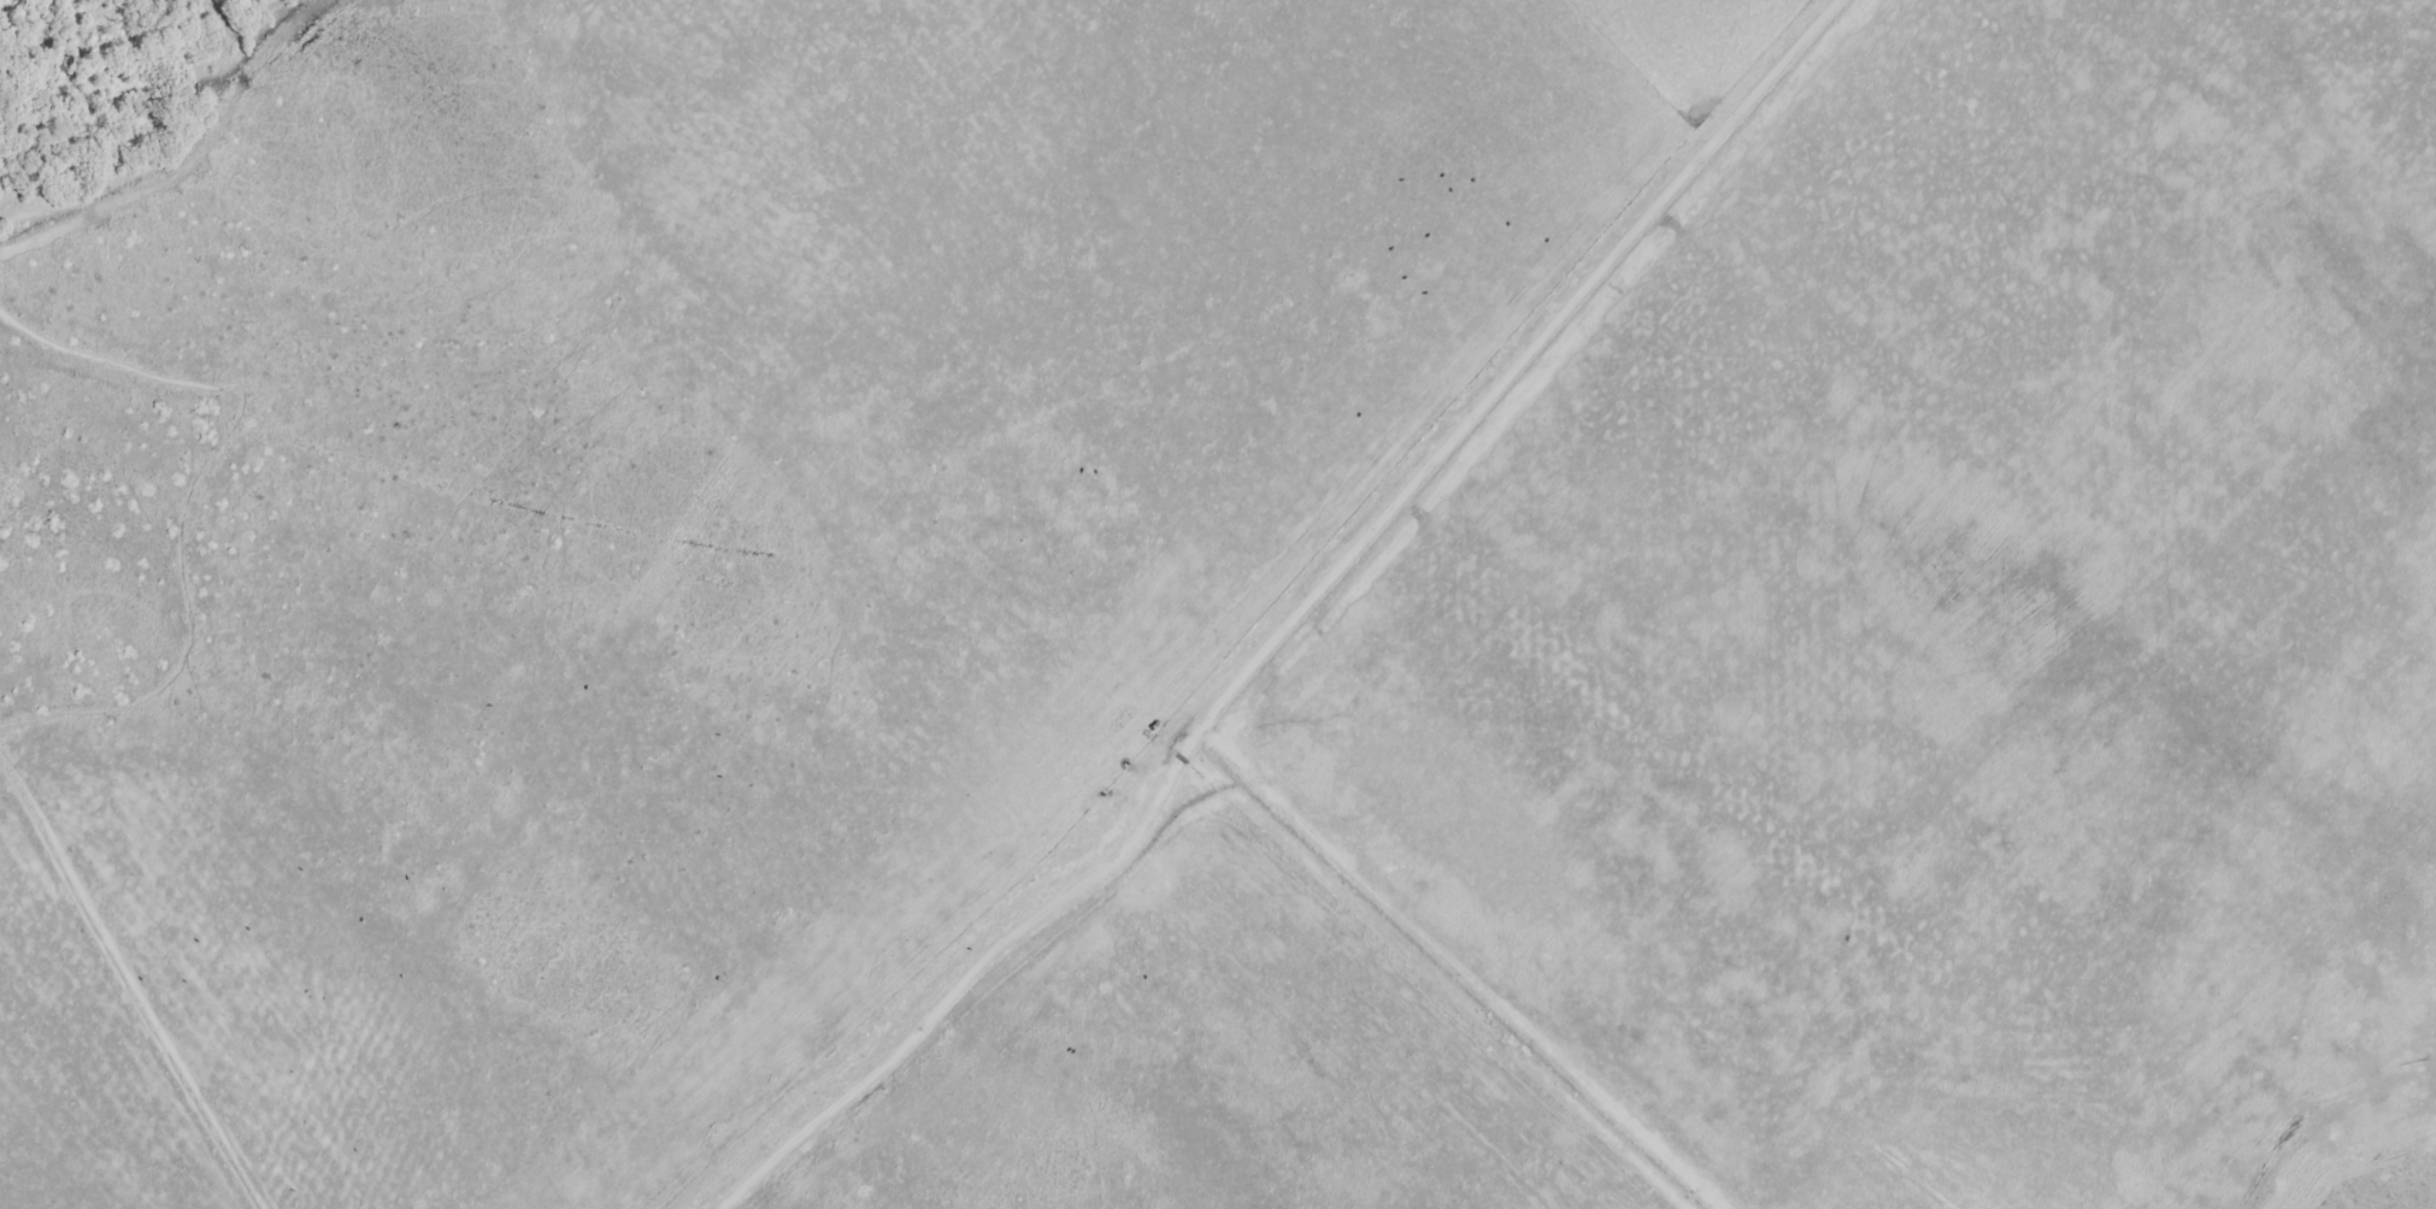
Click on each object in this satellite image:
road: (1360, 543)
road: (801, 1143)

